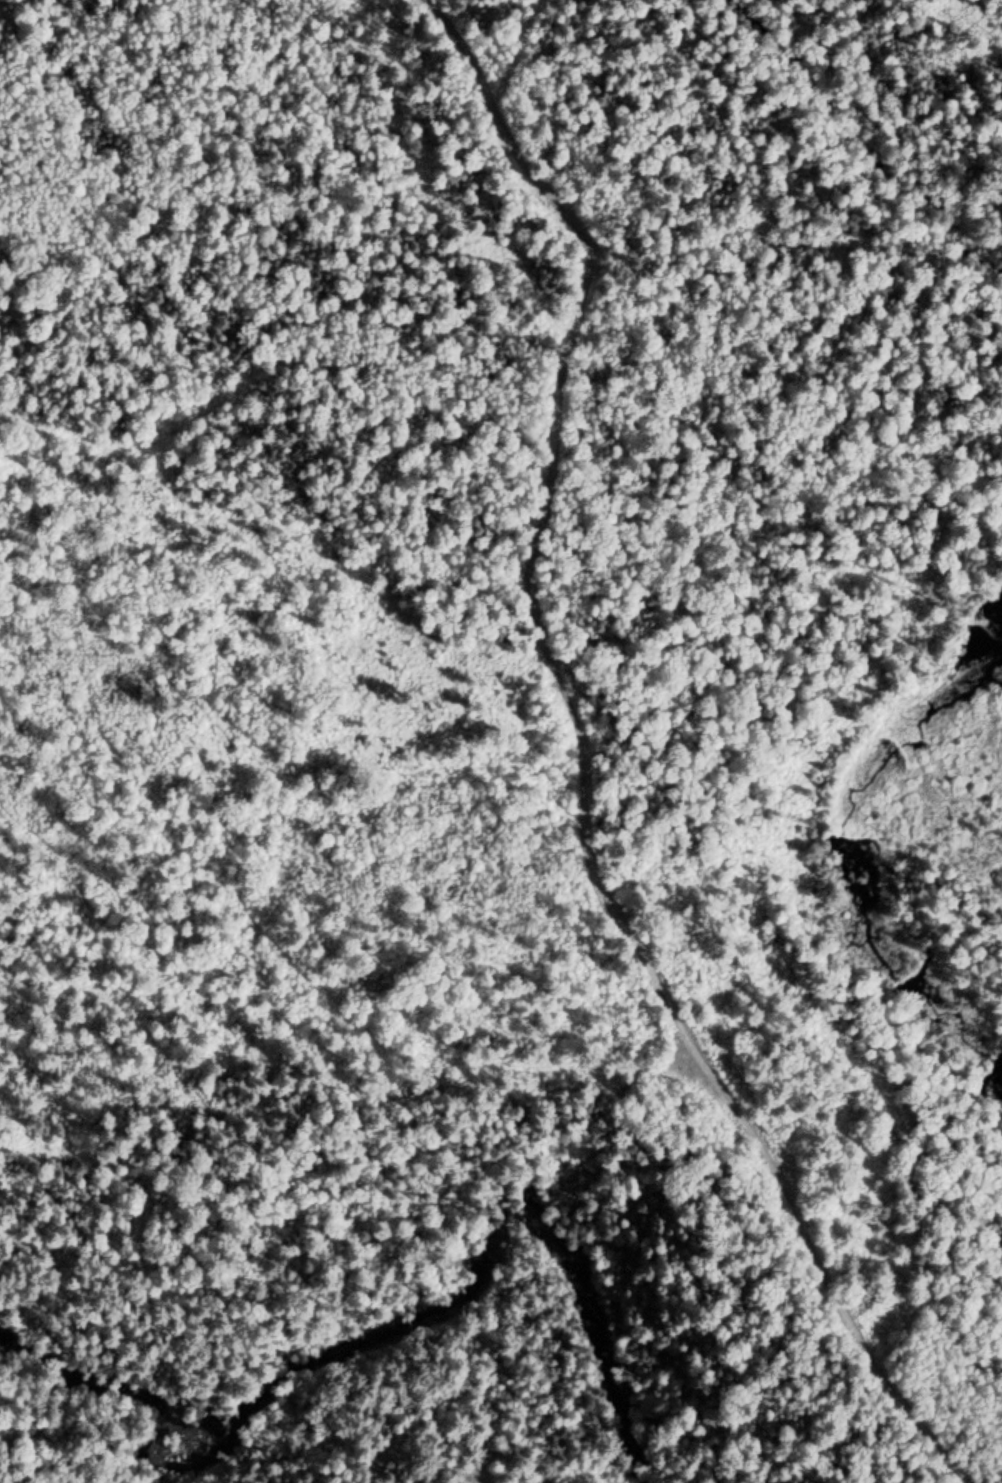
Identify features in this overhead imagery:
river: (405, 1359)

